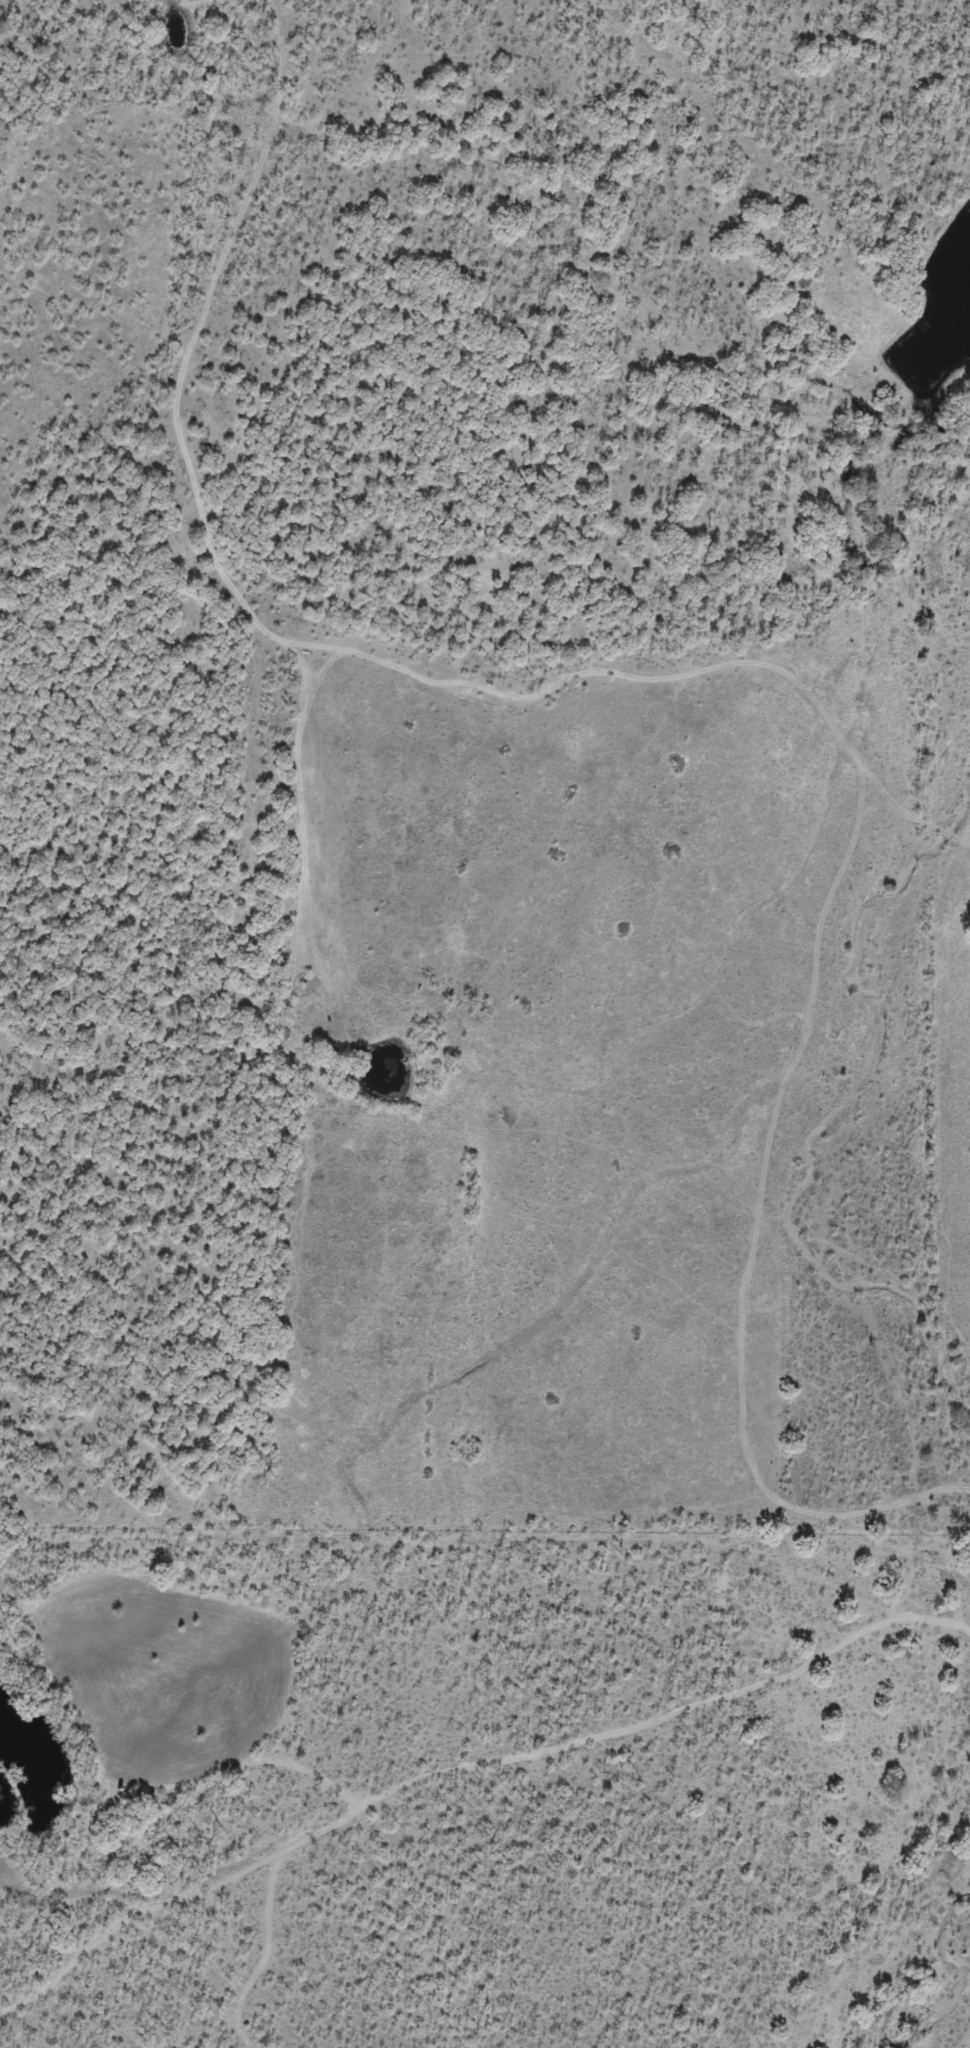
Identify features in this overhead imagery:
road: (475, 1787)

